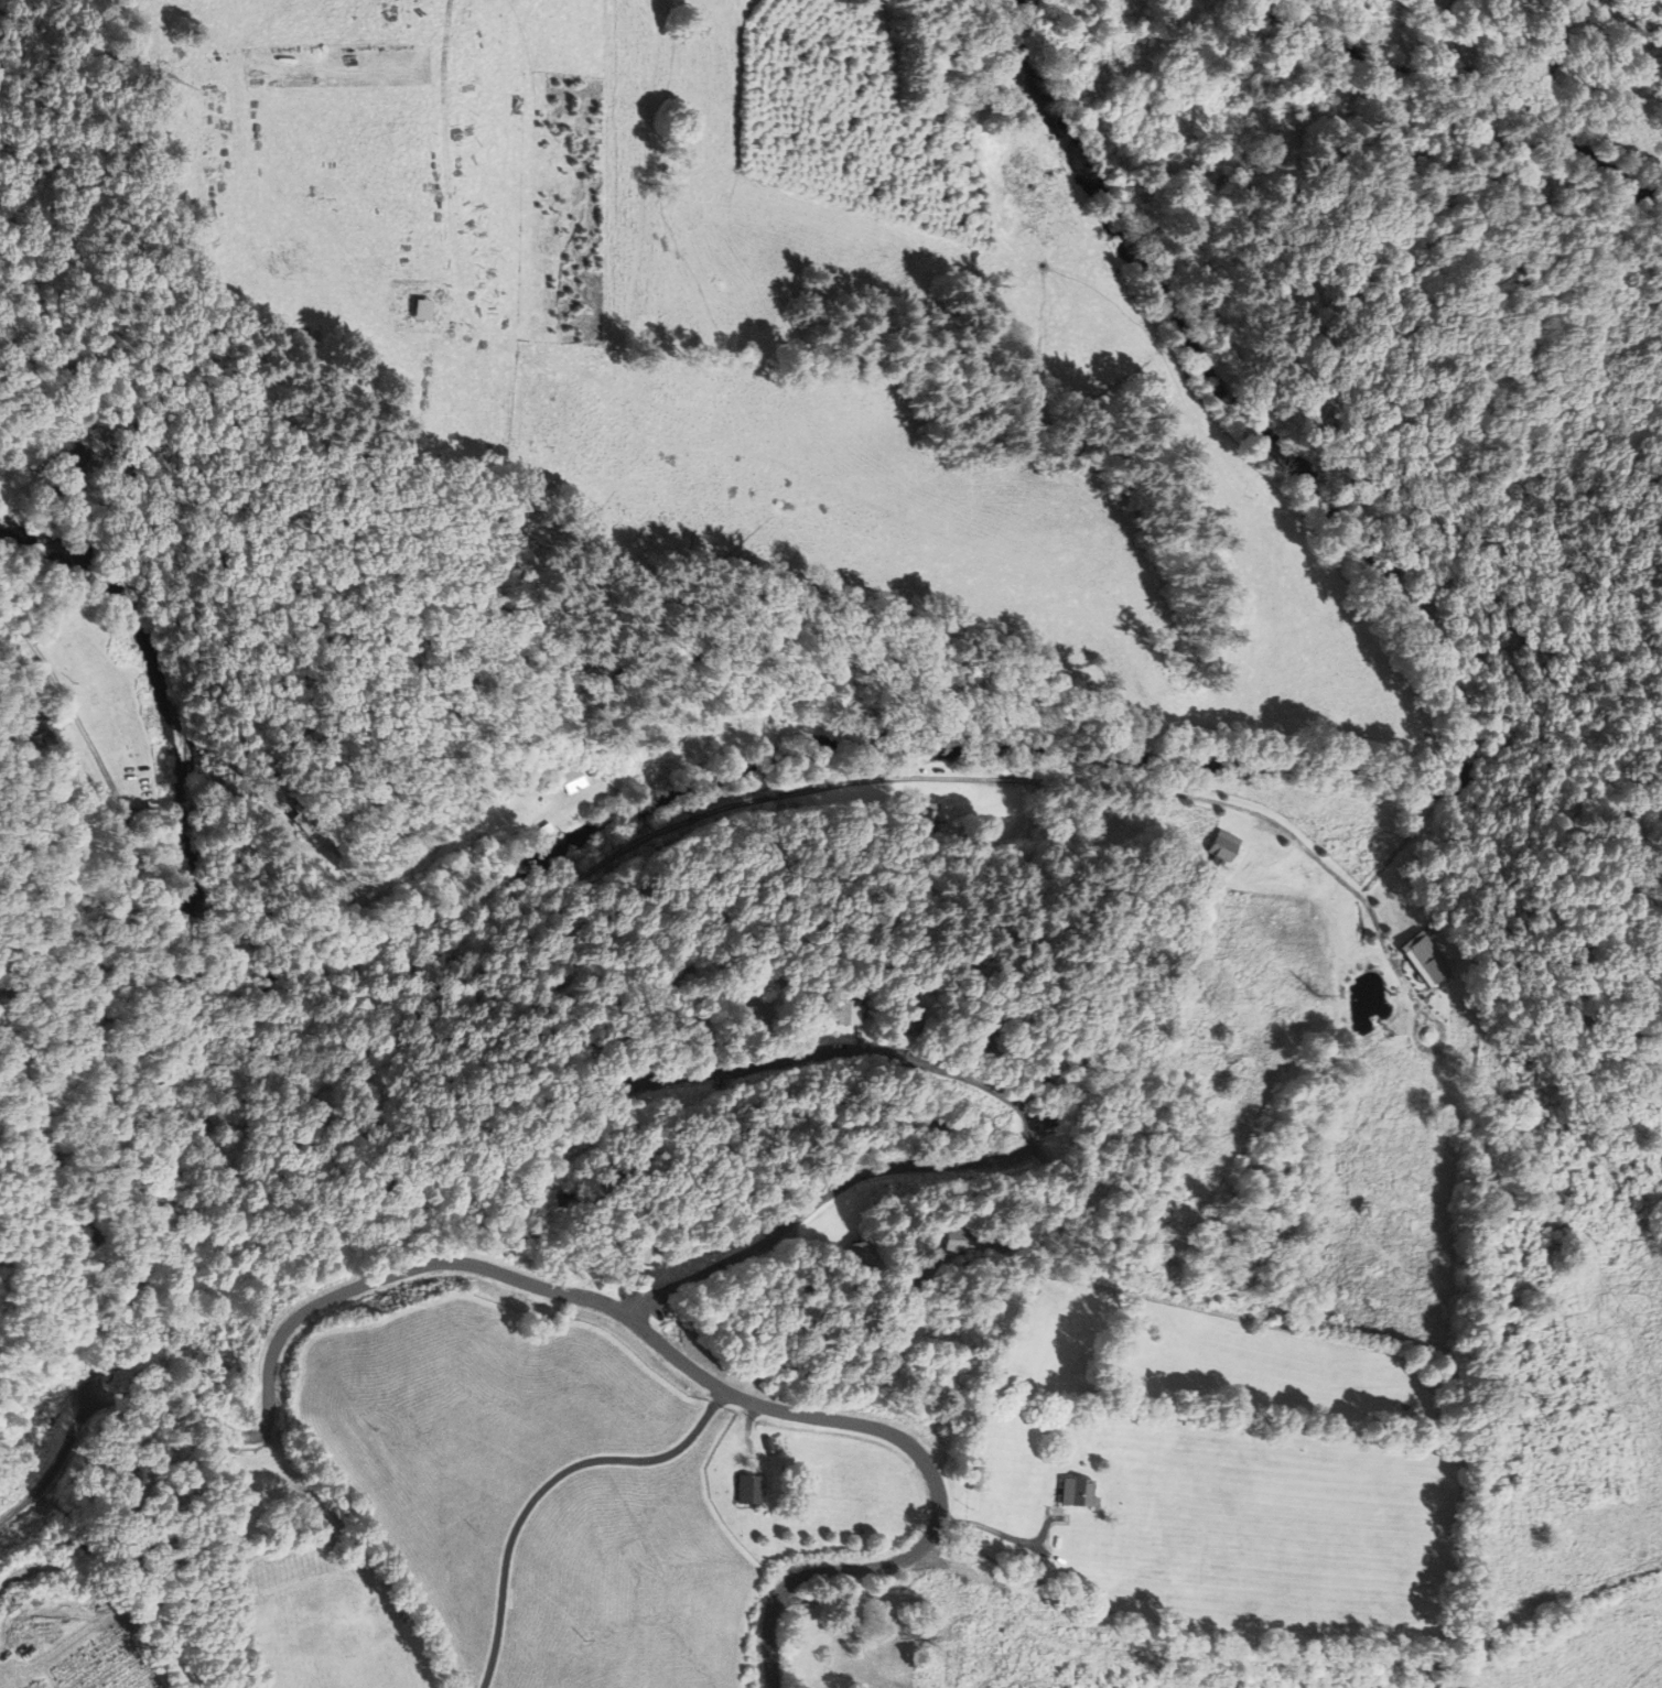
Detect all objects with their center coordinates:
building: (421, 310)
building: (77, 459)
road: (32, 470)
building: (573, 779)
building: (304, 816)
building: (927, 822)
building: (541, 831)
building: (1223, 848)
road: (612, 856)
building: (1427, 959)
building: (846, 1011)
building: (755, 1016)
building: (910, 1018)
building: (700, 1032)
building: (980, 1037)
building: (585, 1059)
building: (1051, 1067)
building: (935, 1130)
building: (830, 1132)
road: (1034, 1137)
building: (629, 1172)
building: (763, 1194)
building: (962, 1240)
building: (637, 1249)
building: (864, 1252)
road: (464, 1256)
building: (902, 1260)
building: (768, 1443)
road: (58, 1461)
road: (547, 1486)
building: (748, 1489)
building: (1078, 1492)
road: (1002, 1534)

